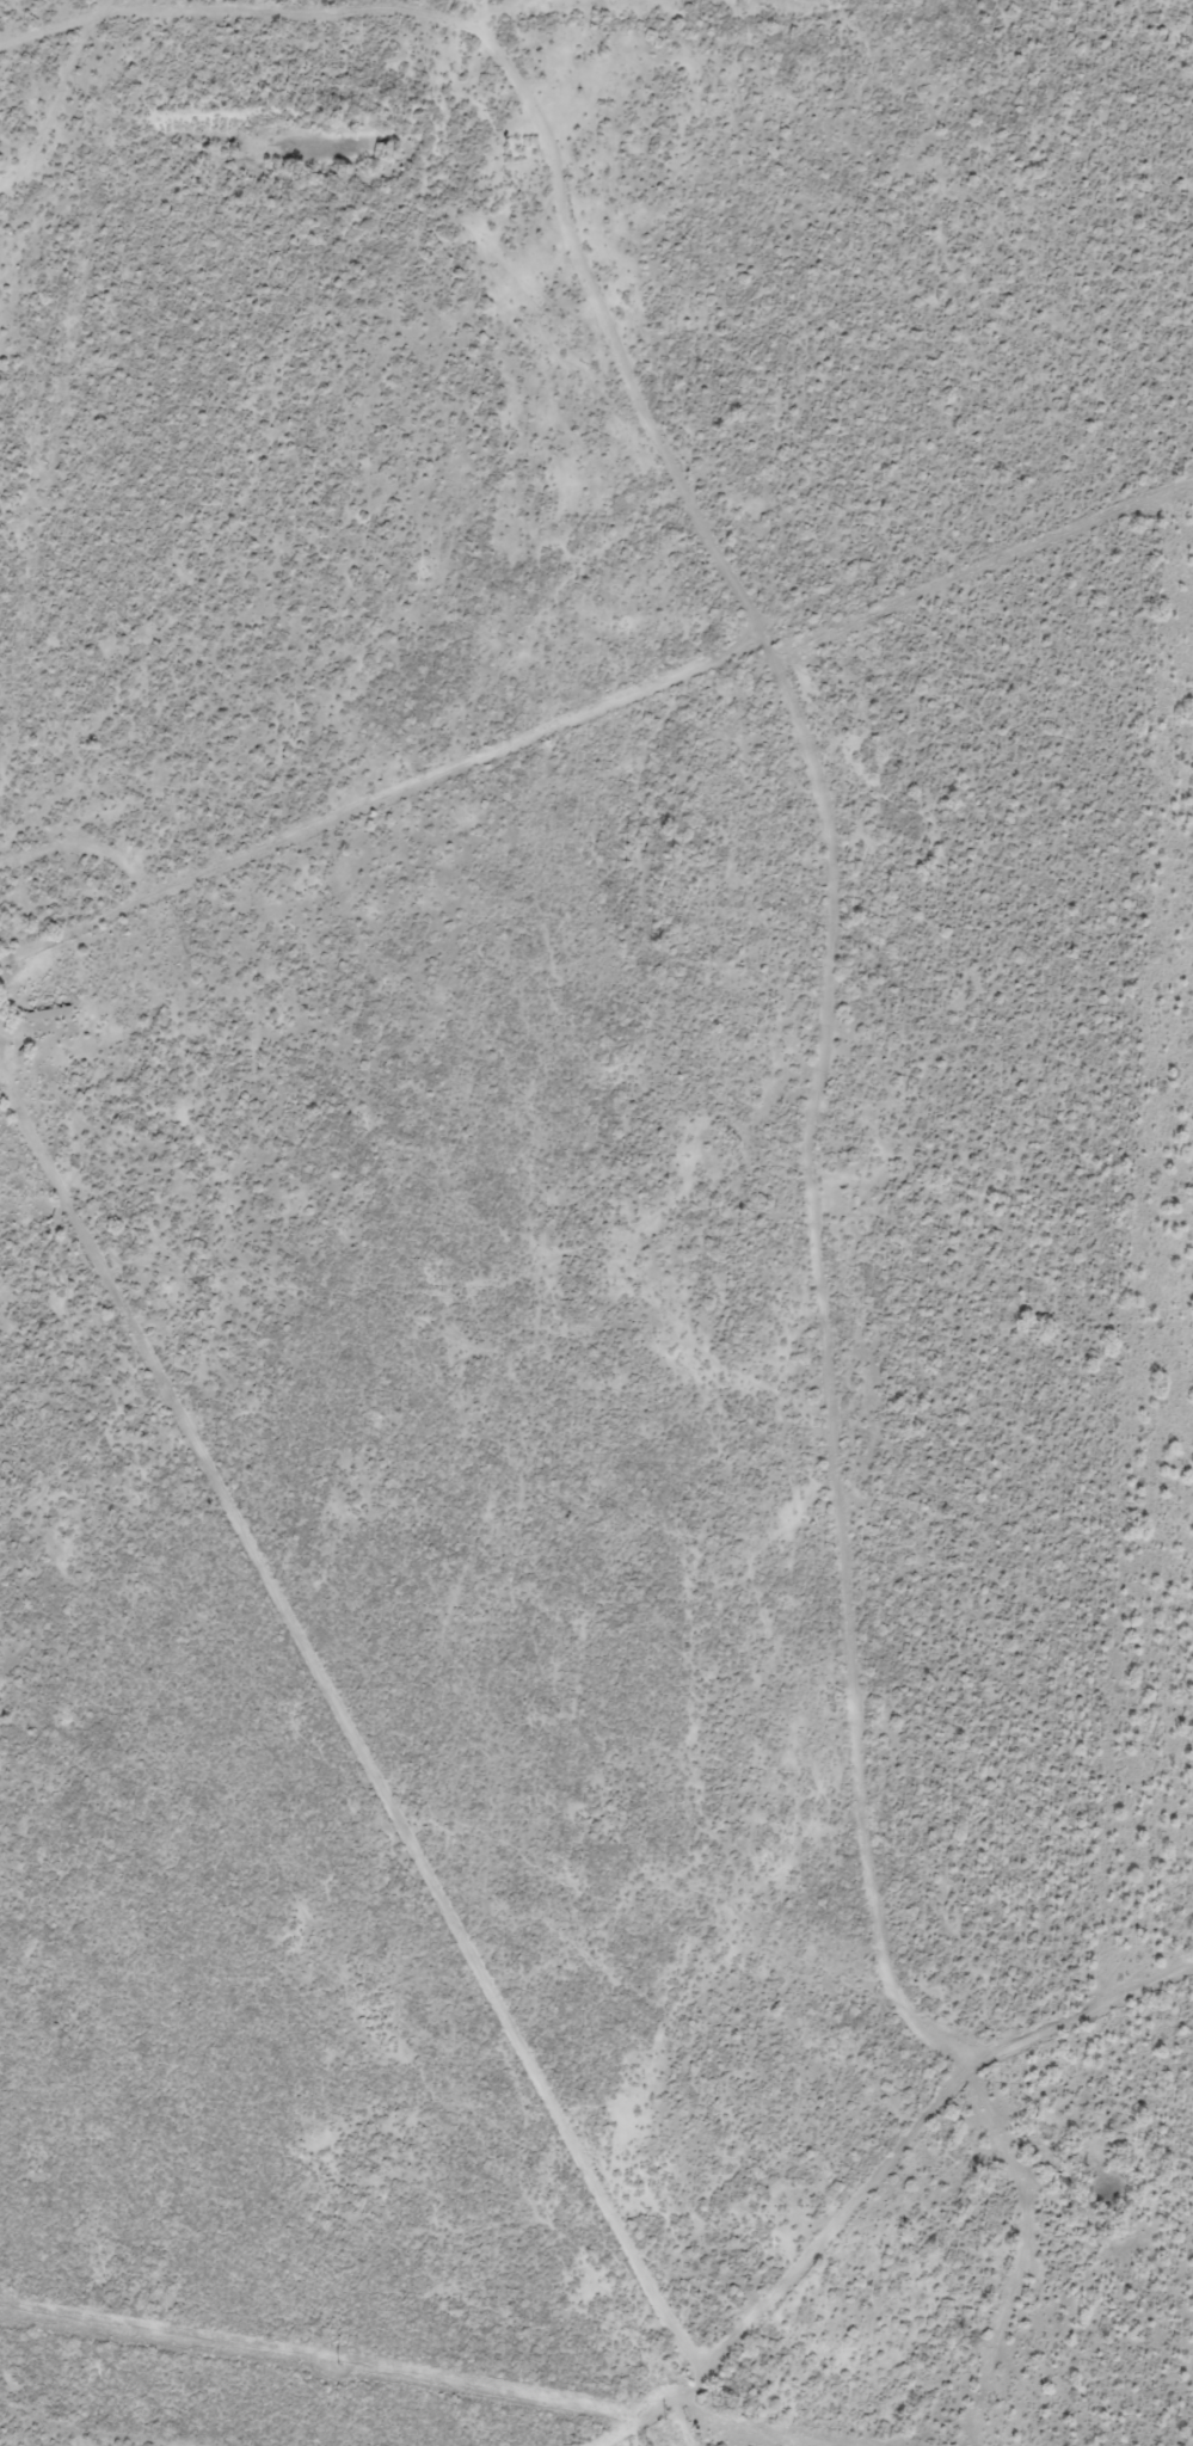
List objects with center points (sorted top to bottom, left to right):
building: (45, 1016)
road: (834, 1348)
power tower: (339, 2366)
power tower: (660, 2420)

